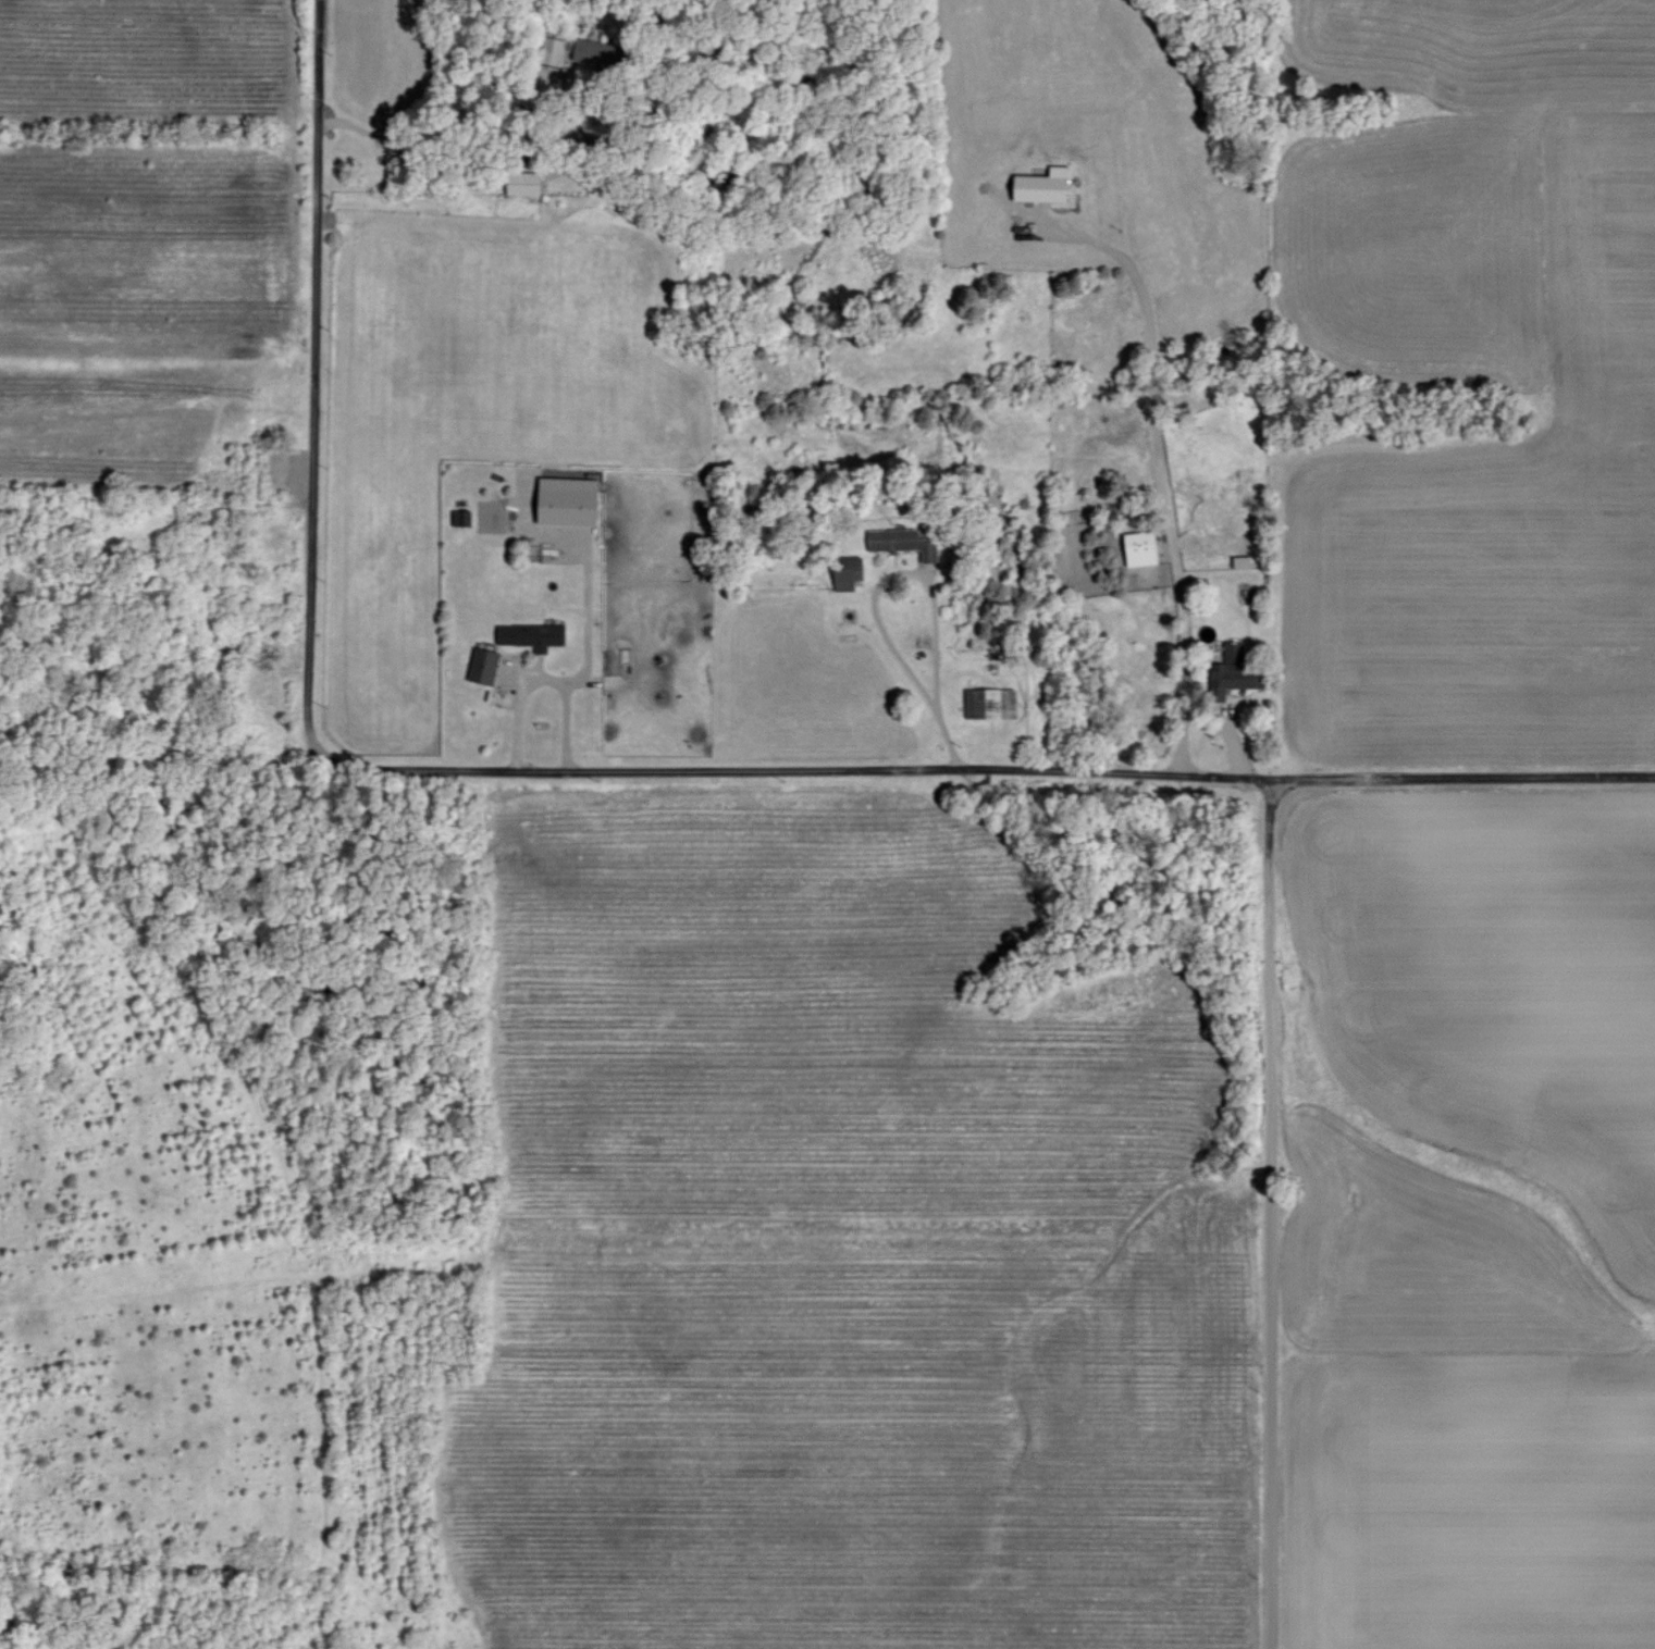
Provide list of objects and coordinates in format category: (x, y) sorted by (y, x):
building: (553, 50)
building: (590, 52)
road: (455, 153)
building: (519, 184)
building: (1037, 186)
road: (309, 420)
road: (1160, 472)
building: (561, 501)
building: (899, 543)
building: (1135, 549)
building: (842, 573)
road: (923, 578)
building: (527, 636)
building: (480, 667)
building: (1227, 673)
road: (541, 678)
road: (1027, 769)
road: (1261, 1211)

